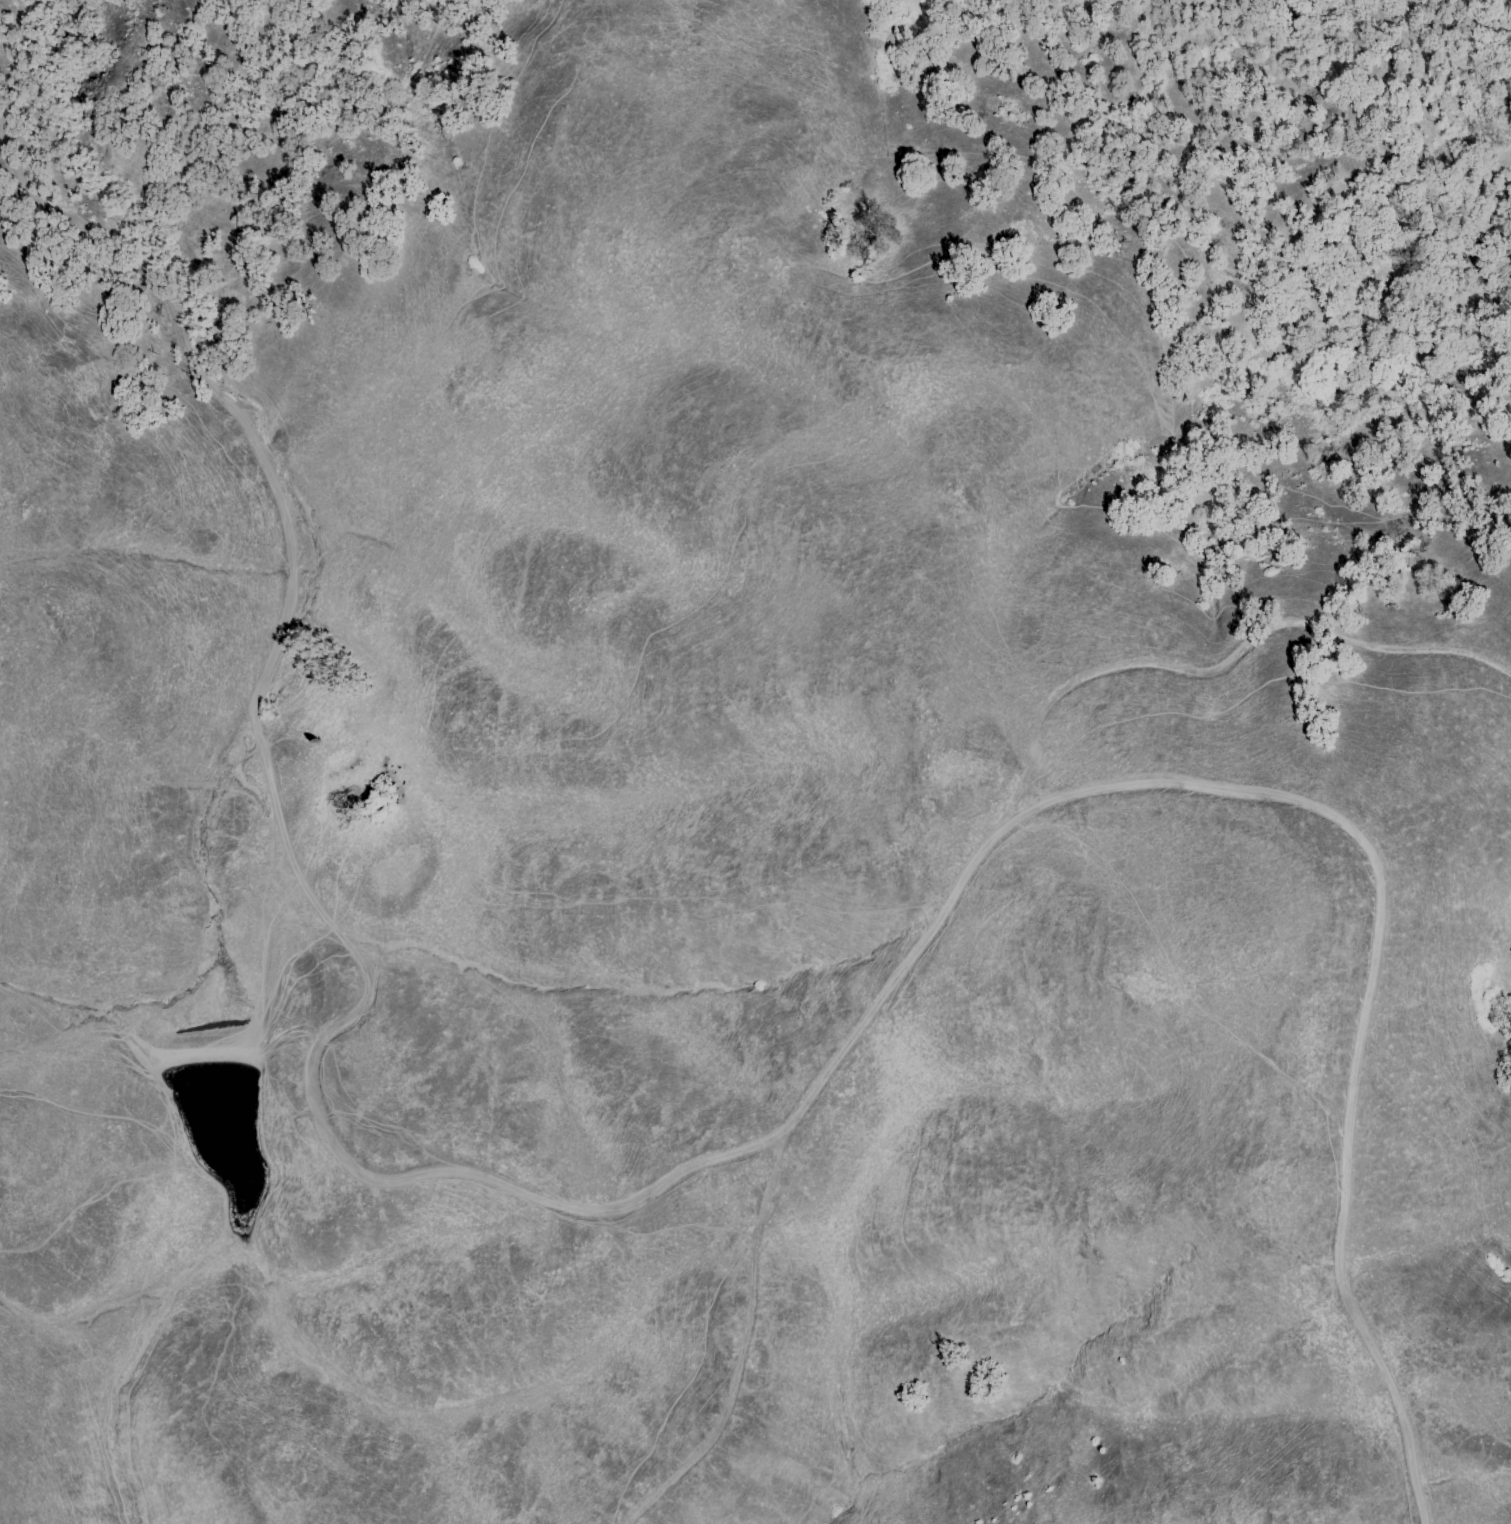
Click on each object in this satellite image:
road: (701, 1166)
road: (741, 1342)

